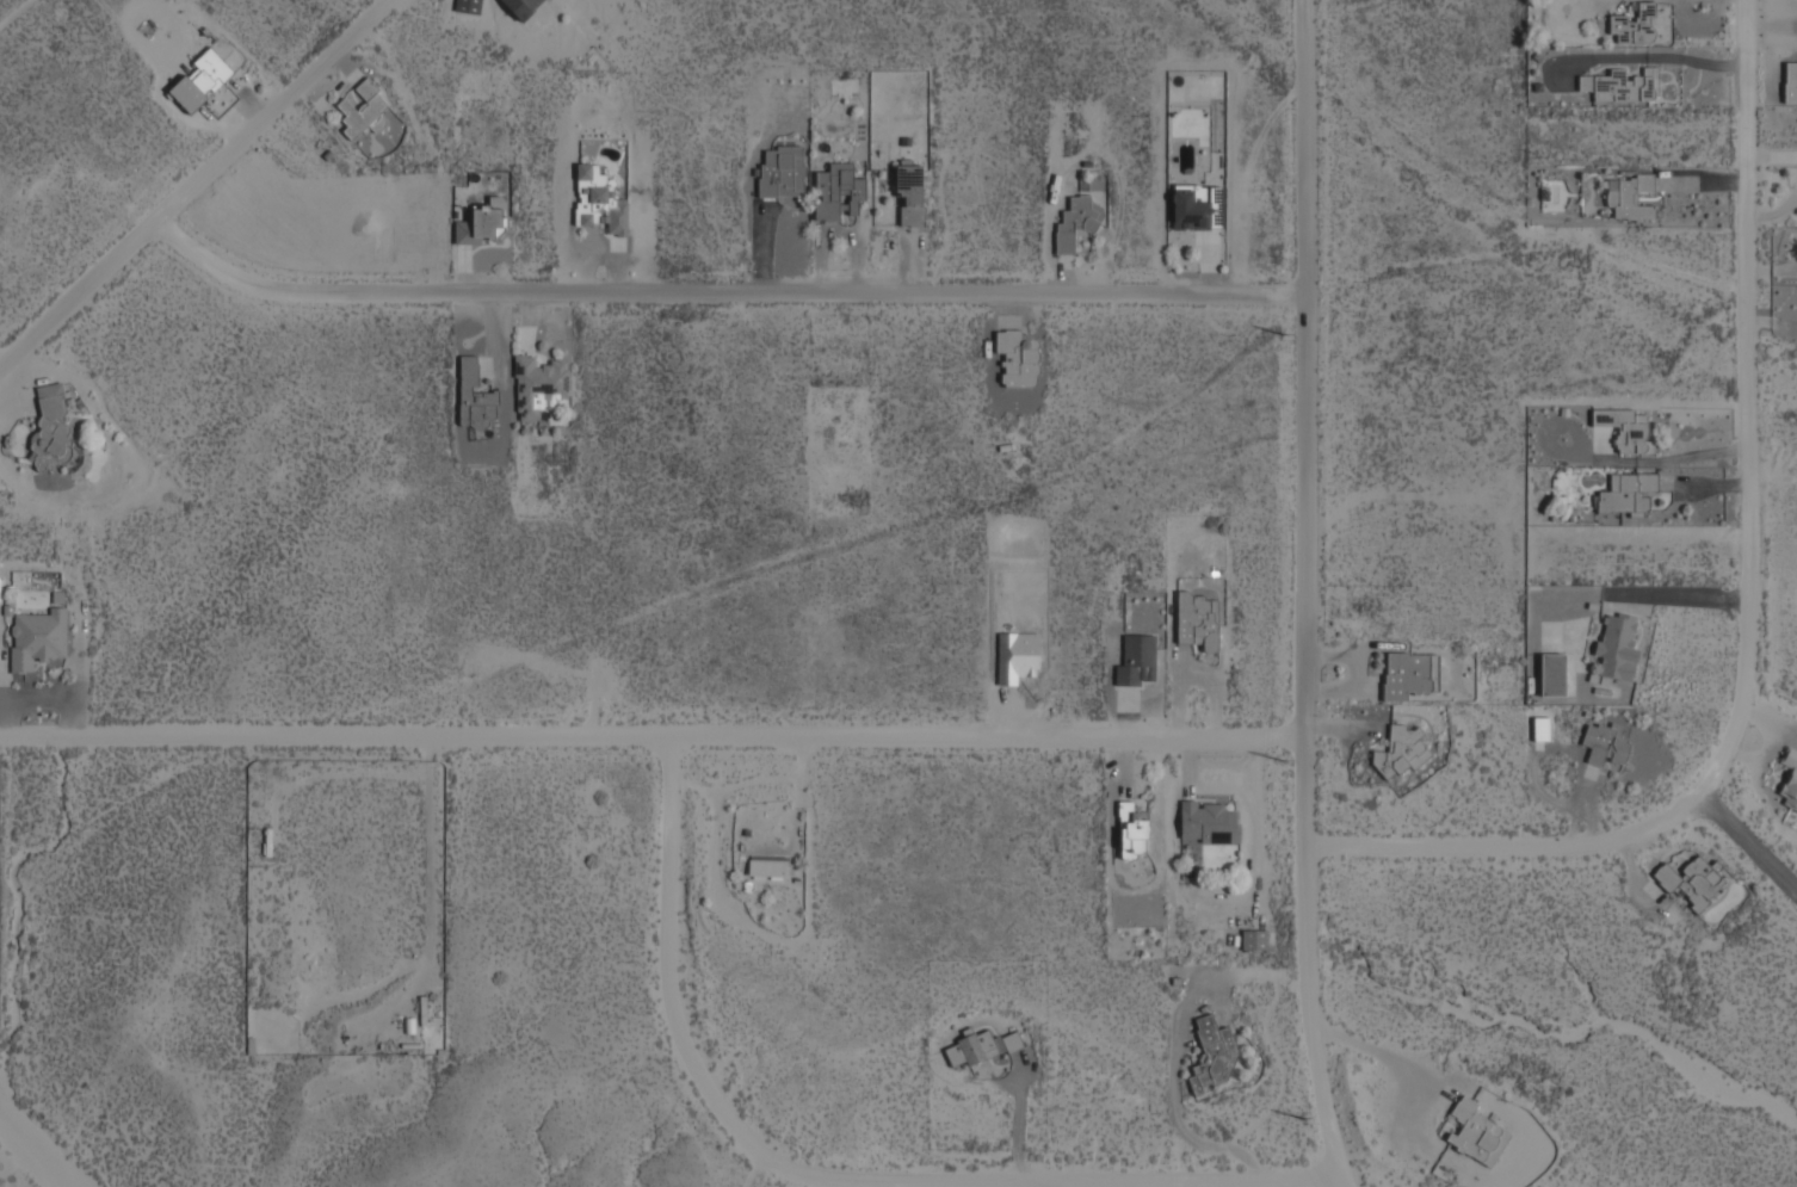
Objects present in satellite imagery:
building: (468, 7)
building: (523, 8)
building: (1634, 26)
building: (199, 82)
building: (1790, 84)
building: (1623, 87)
building: (363, 111)
building: (780, 173)
building: (836, 193)
road: (204, 194)
building: (909, 194)
building: (1629, 198)
building: (418, 199)
building: (598, 203)
building: (1194, 210)
building: (285, 215)
building: (483, 224)
building: (1075, 224)
road: (729, 293)
power tower: (1280, 334)
building: (1017, 360)
building: (537, 387)
building: (474, 397)
road: (1753, 407)
building: (1624, 429)
building: (49, 431)
building: (1625, 495)
road: (1303, 594)
building: (1197, 622)
building: (36, 642)
building: (1617, 647)
building: (1015, 657)
building: (1135, 662)
building: (1407, 675)
building: (1551, 676)
building: (1540, 730)
road: (650, 743)
building: (1605, 747)
building: (1402, 753)
power tower: (1279, 760)
building: (1789, 779)
building: (1208, 824)
building: (1132, 829)
road: (1747, 847)
road: (1512, 853)
building: (766, 867)
building: (1690, 883)
road: (678, 940)
building: (1253, 942)
building: (980, 1049)
building: (1212, 1055)
power tower: (1301, 1117)
building: (1476, 1135)
road: (1023, 1182)
road: (1005, 1185)
road: (1058, 1185)

